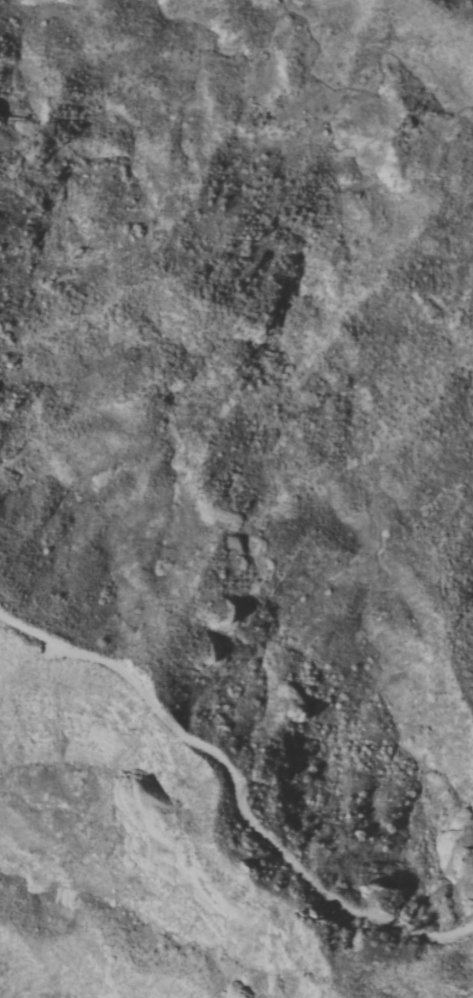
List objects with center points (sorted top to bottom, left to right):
road: (239, 784)

